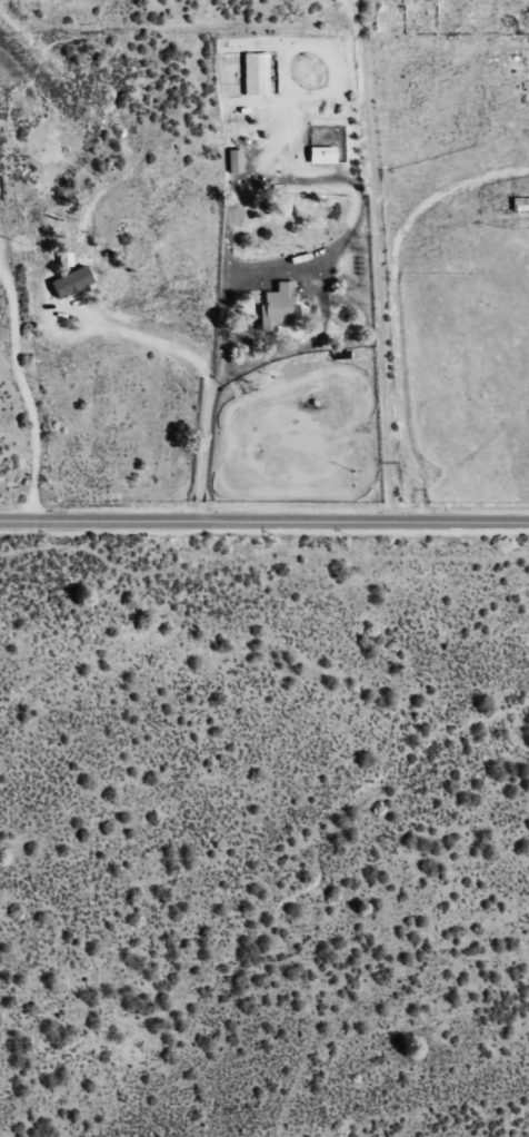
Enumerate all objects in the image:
building: (319, 156)
building: (233, 161)
road: (378, 263)
building: (69, 283)
building: (275, 308)
road: (263, 525)

